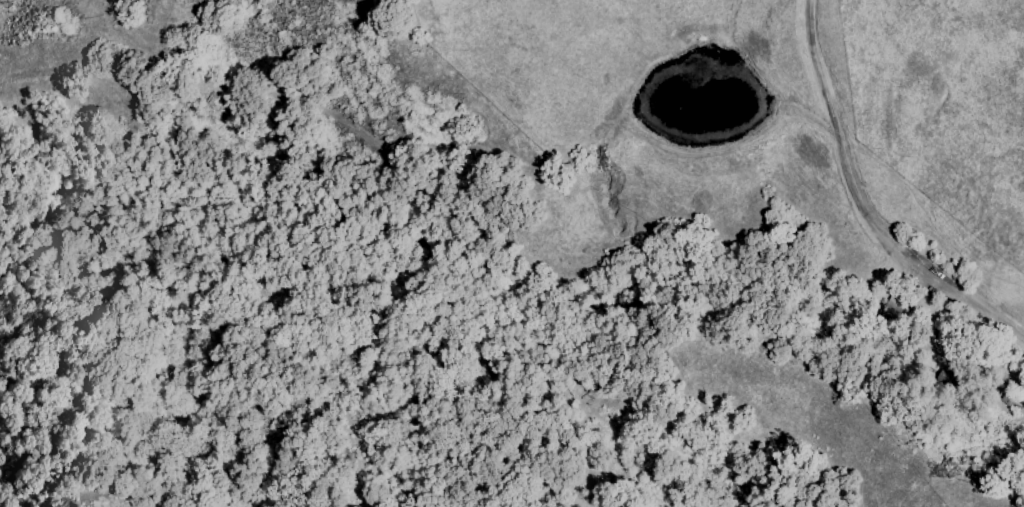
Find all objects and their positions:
road: (861, 204)

